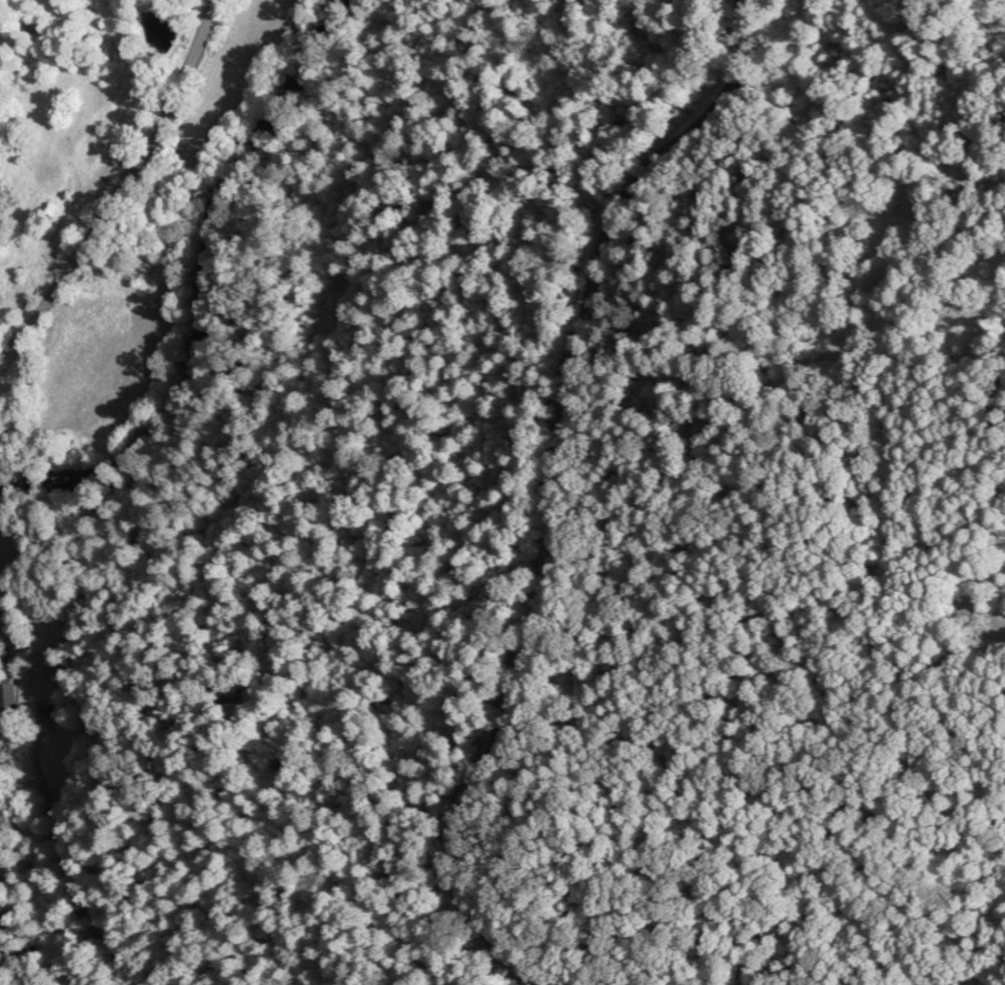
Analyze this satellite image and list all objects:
road: (121, 188)
road: (551, 498)

